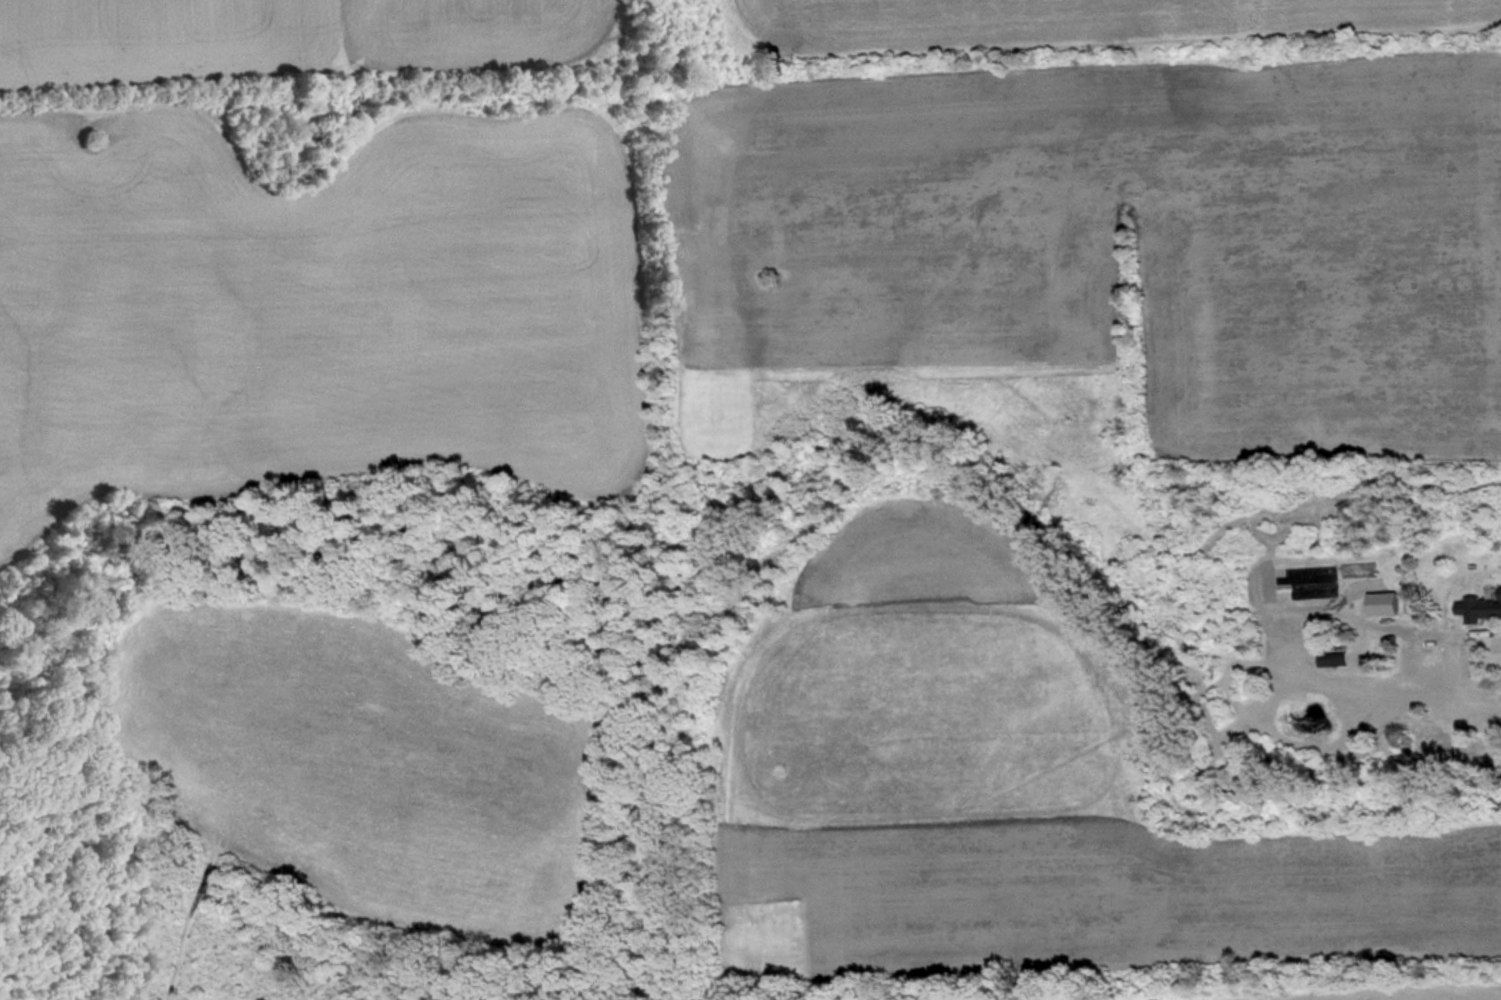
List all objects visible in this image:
building: (1398, 604)
building: (1482, 606)

